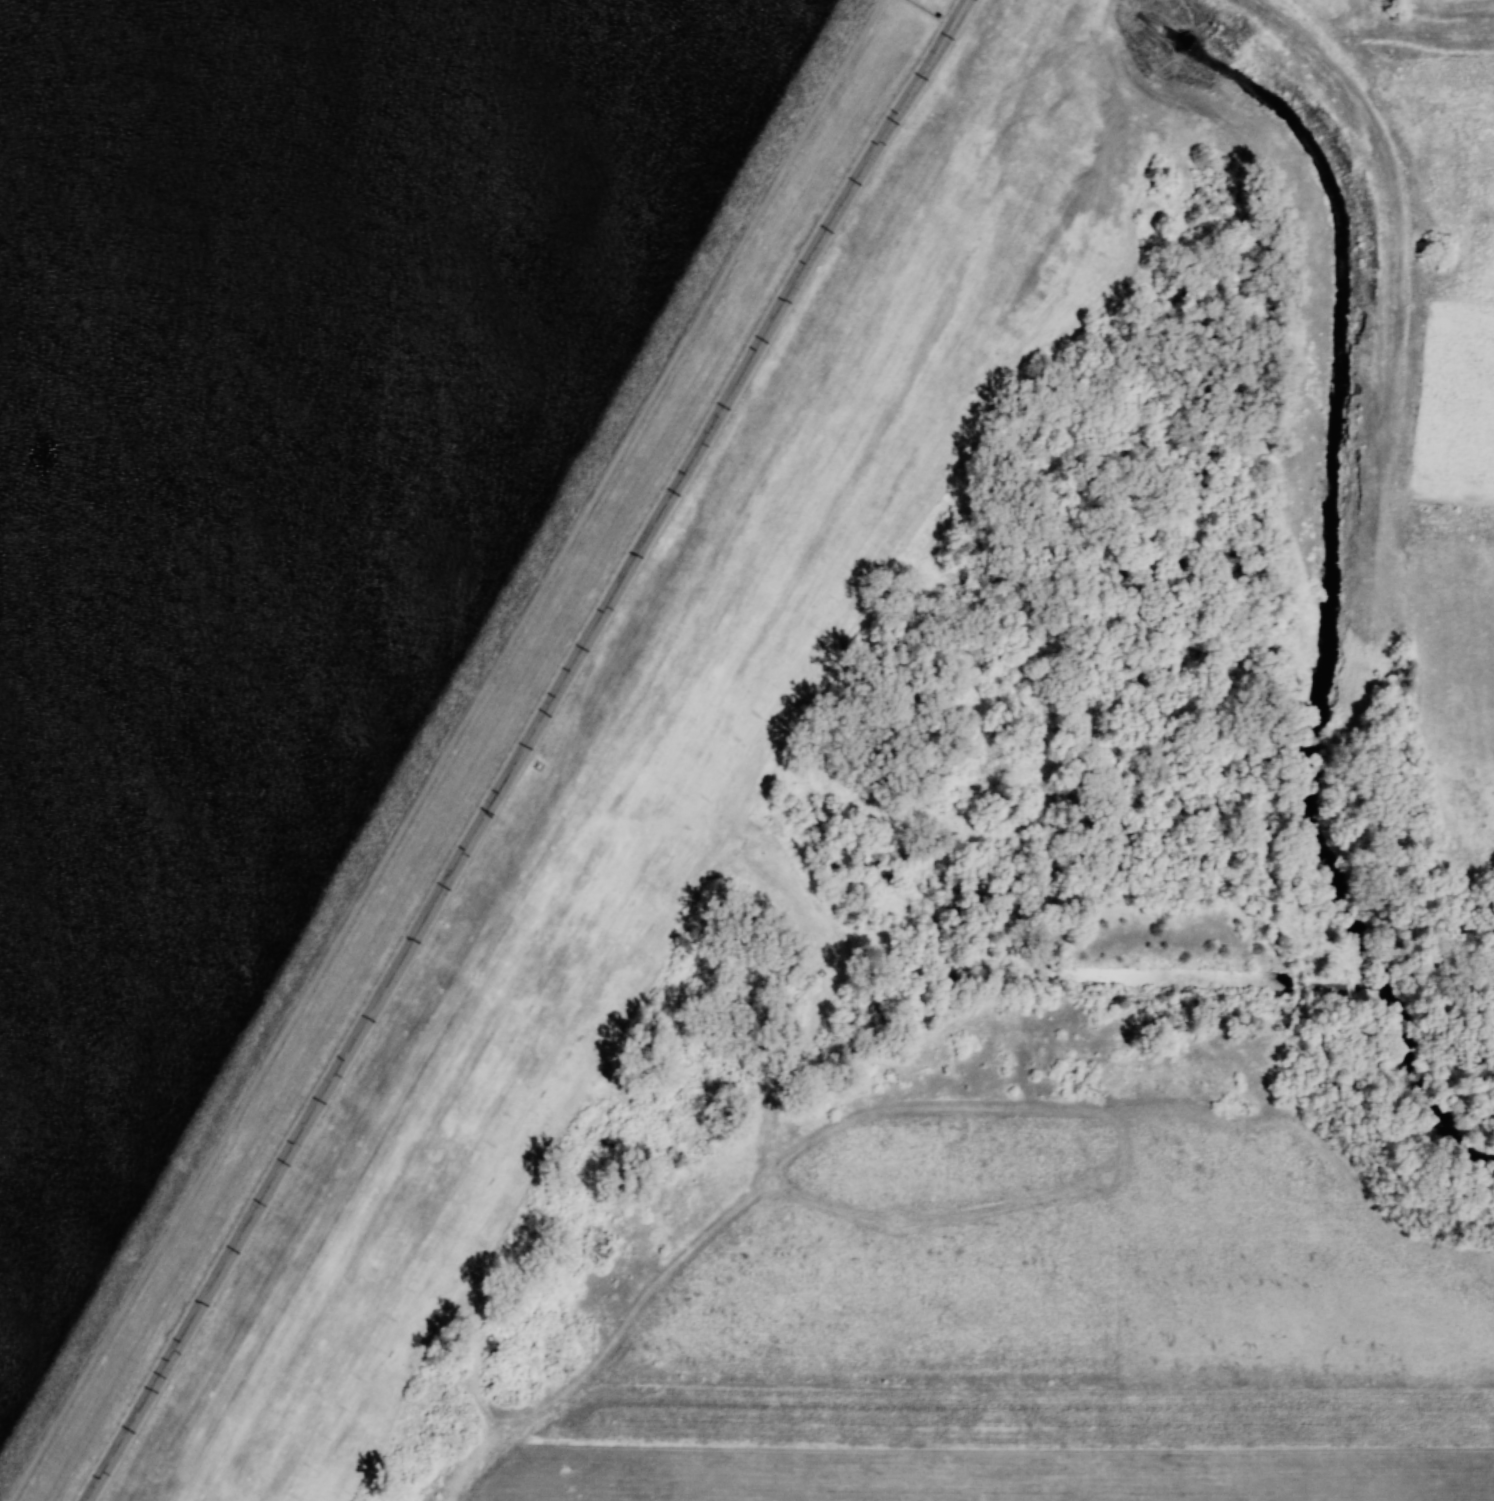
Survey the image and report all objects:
river: (1122, 10)
road: (712, 424)
park: (322, 541)
river: (1335, 572)
road: (444, 750)
road: (275, 1177)

